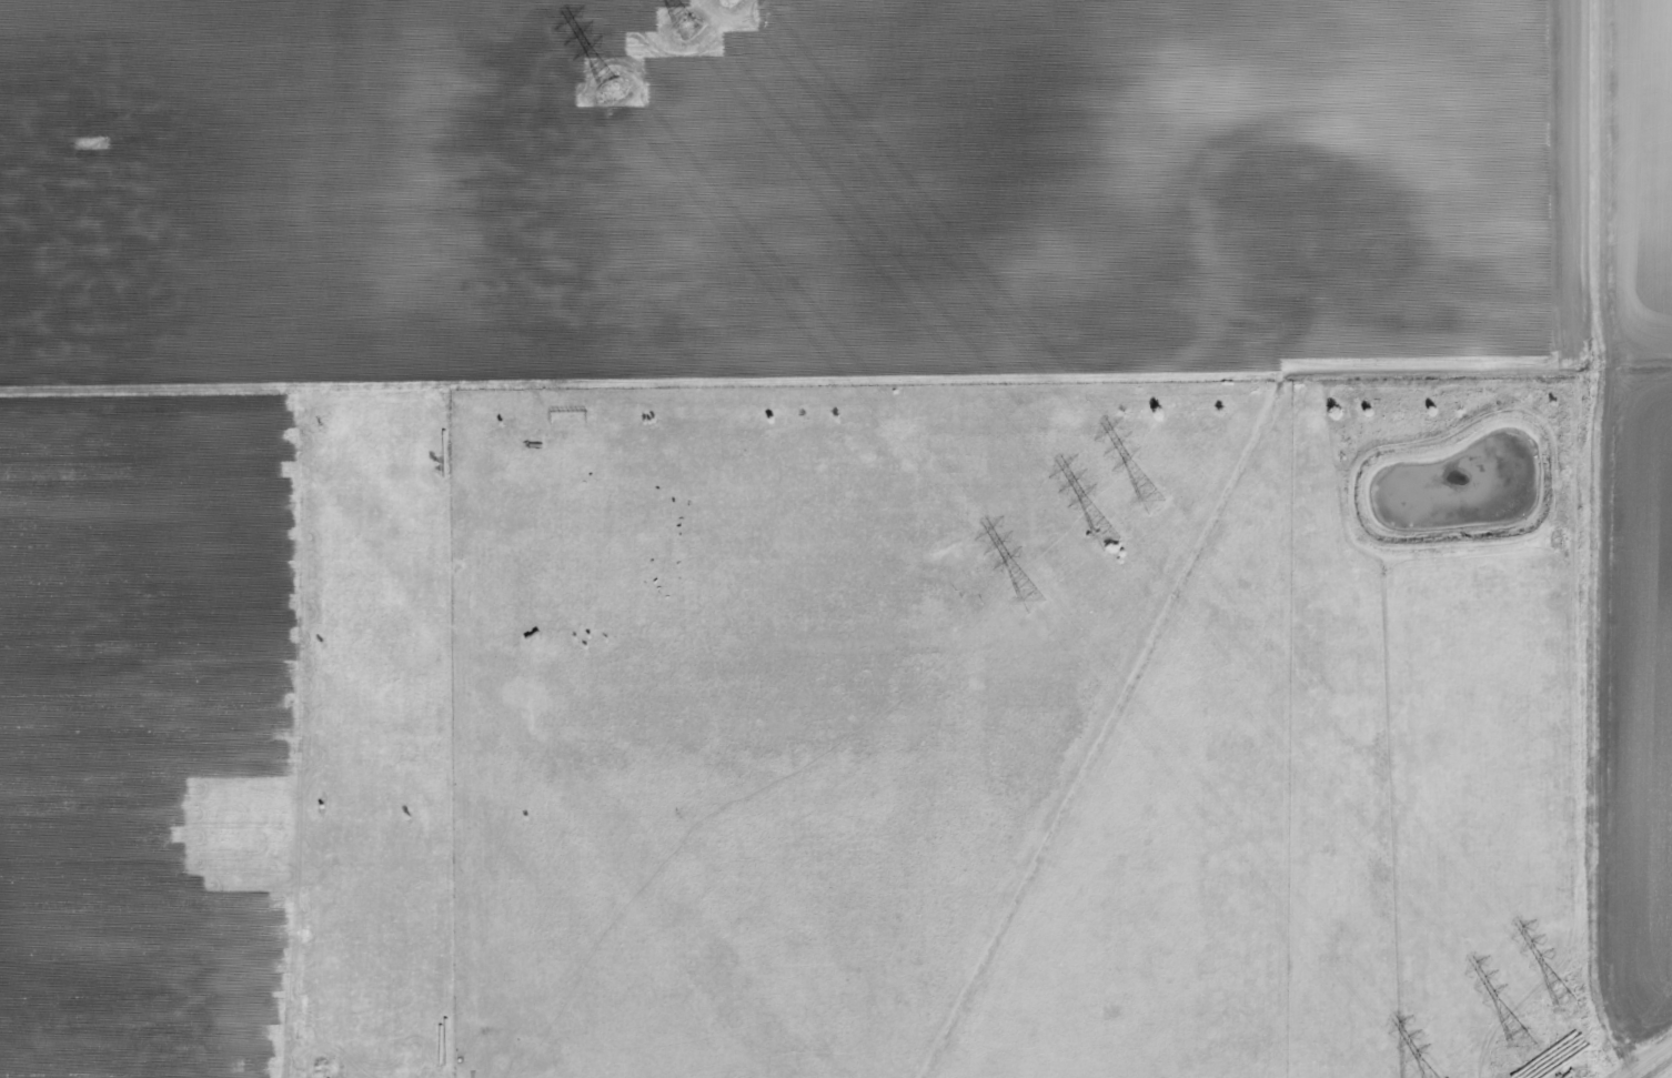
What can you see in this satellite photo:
power tower: (689, 29)
power tower: (614, 92)
power tower: (1154, 503)
power tower: (1108, 541)
power tower: (1033, 603)
power tower: (1571, 1014)
road: (1604, 1034)
power tower: (1525, 1048)

